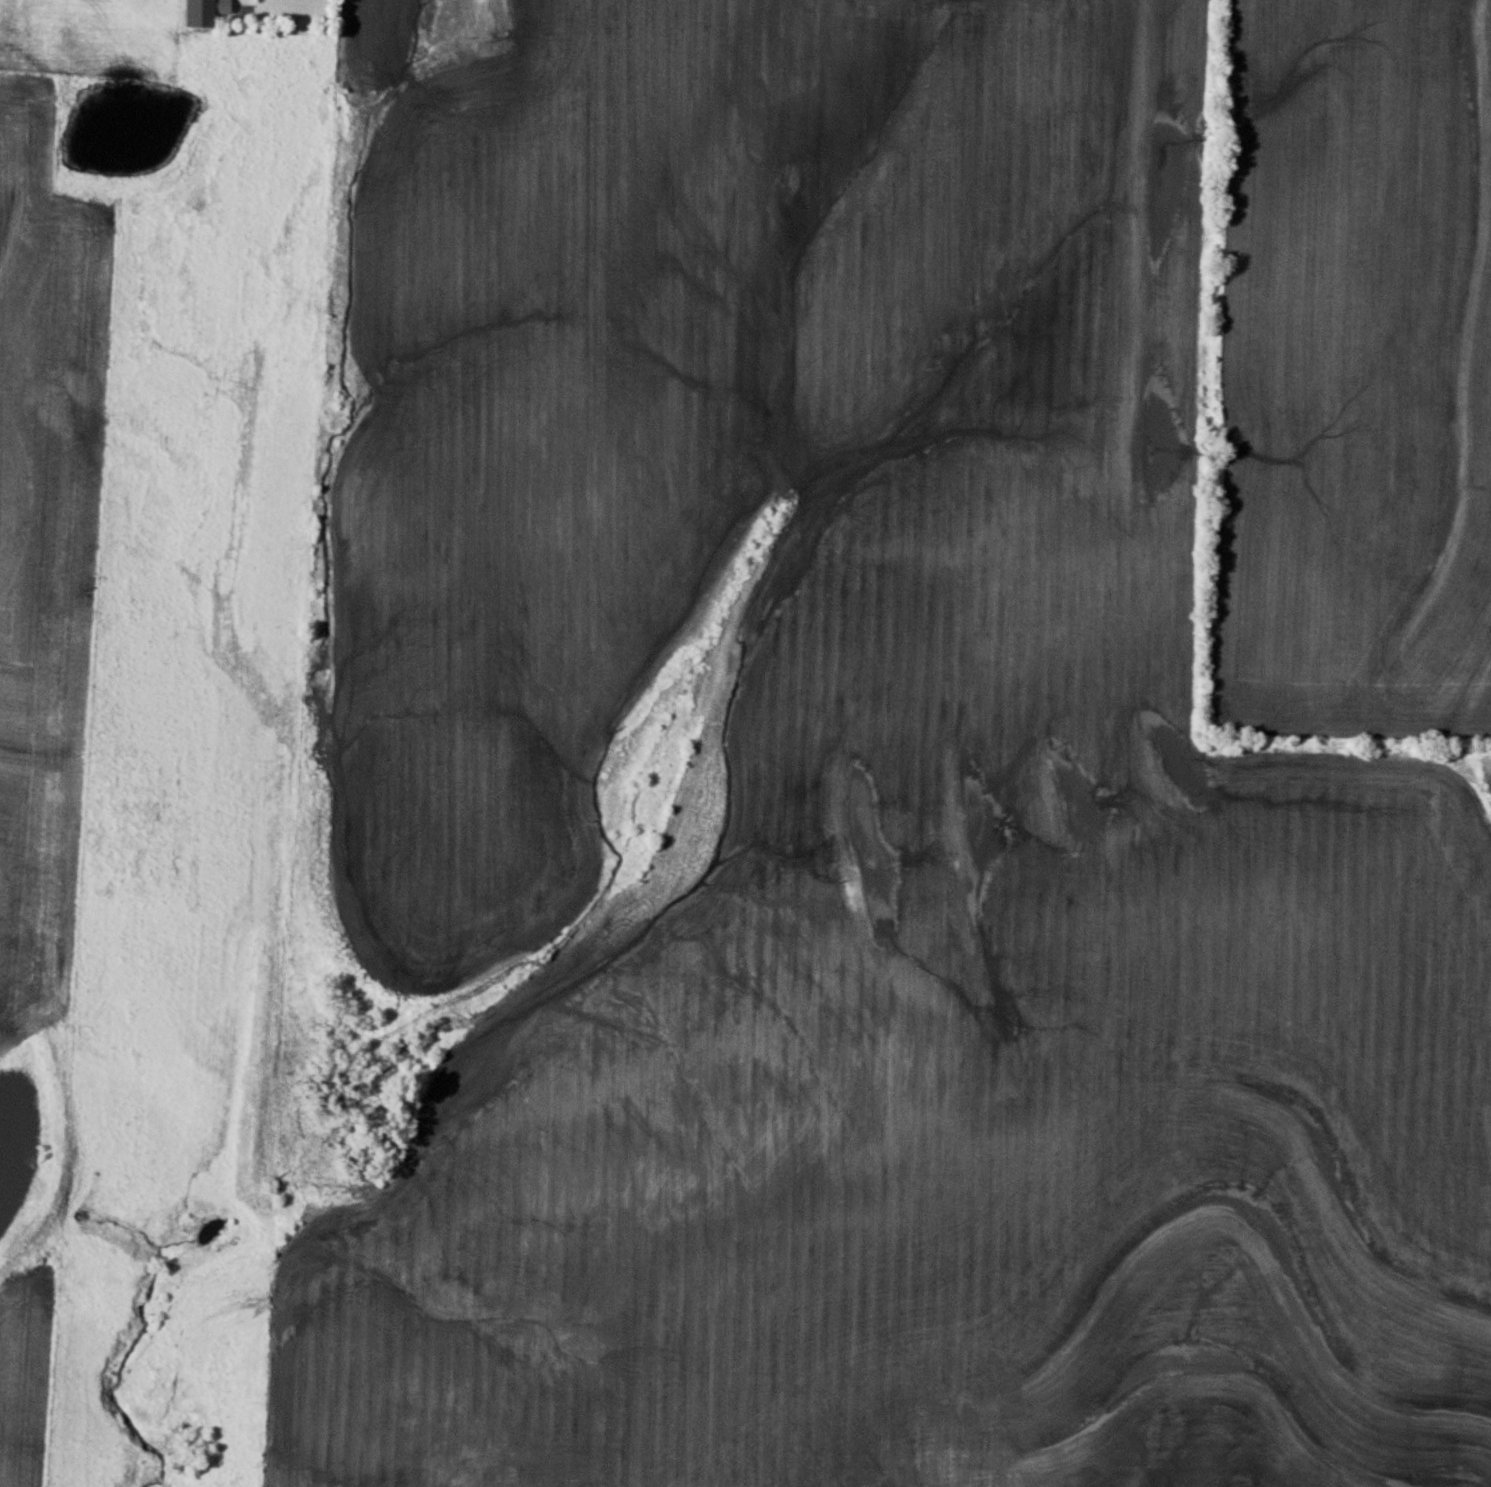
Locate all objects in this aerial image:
building: (198, 12)
crop: (1351, 373)
crop: (855, 797)

